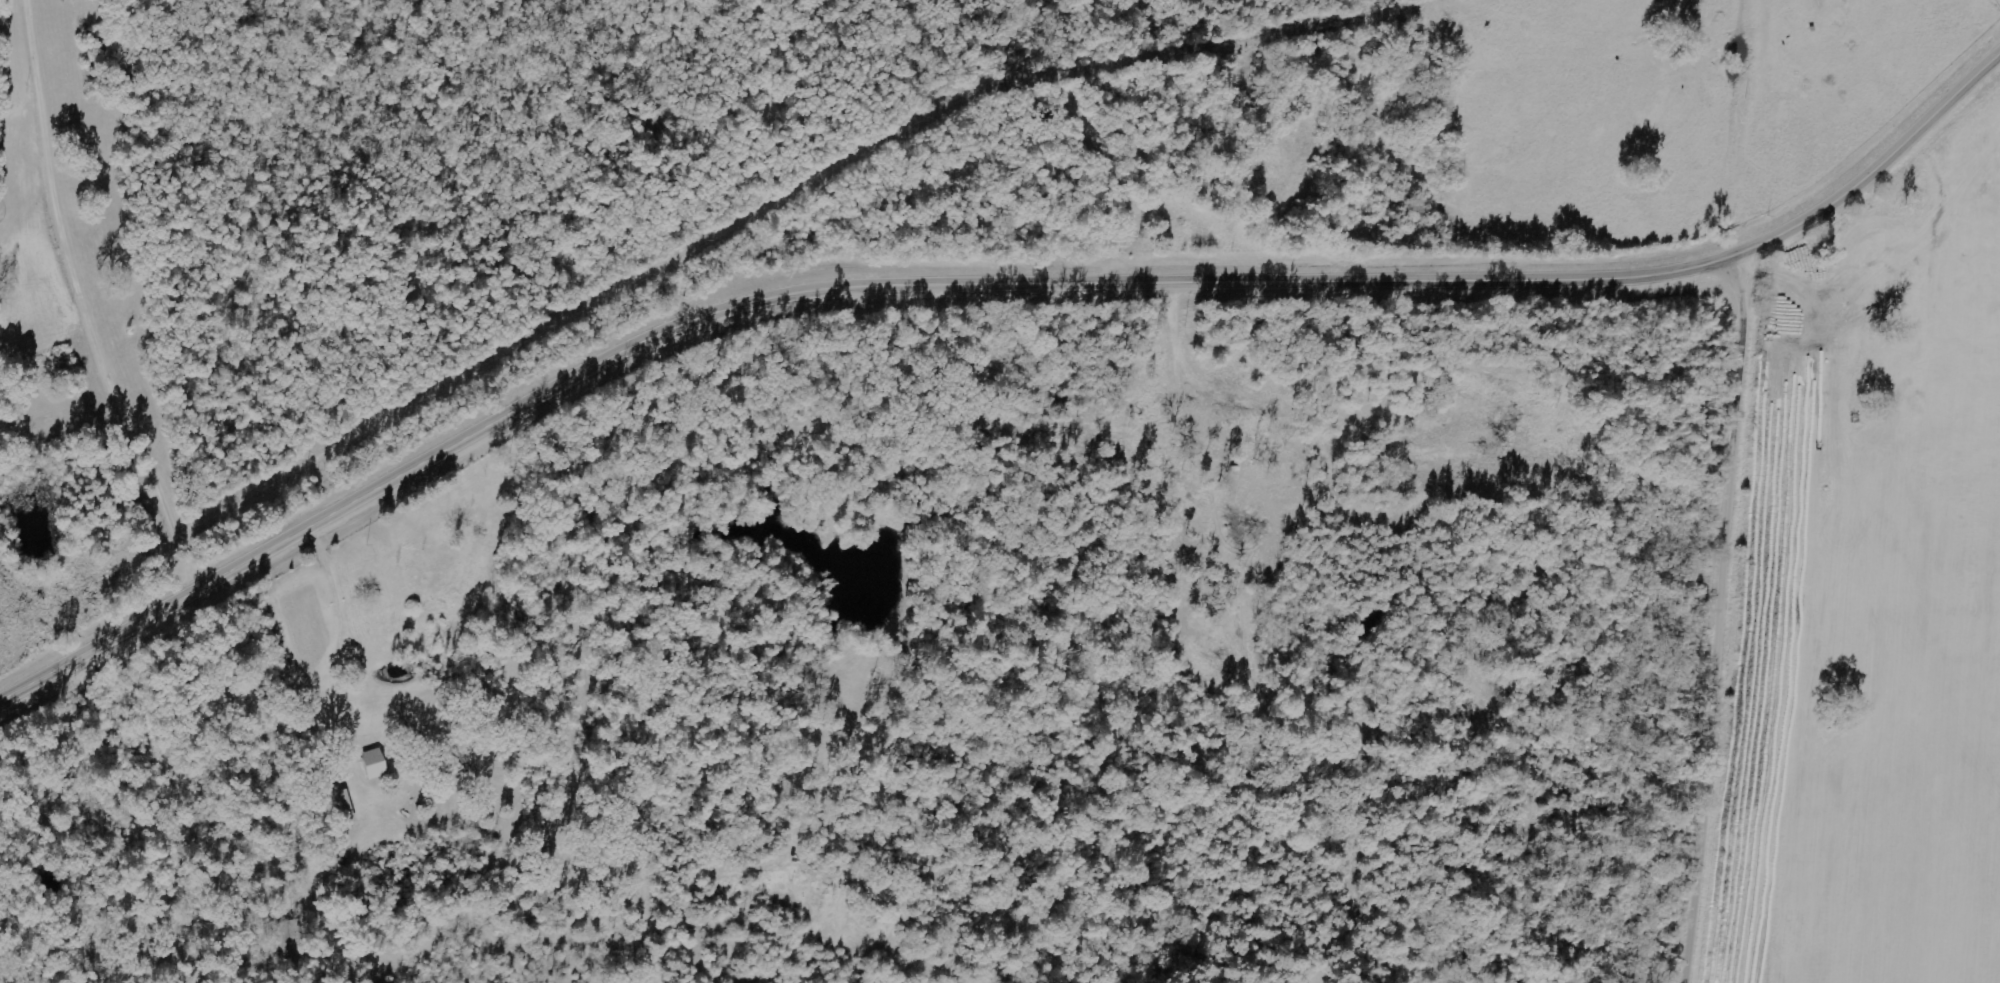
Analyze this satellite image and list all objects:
road: (985, 284)
road: (1531, 617)
building: (371, 764)
building: (340, 807)

